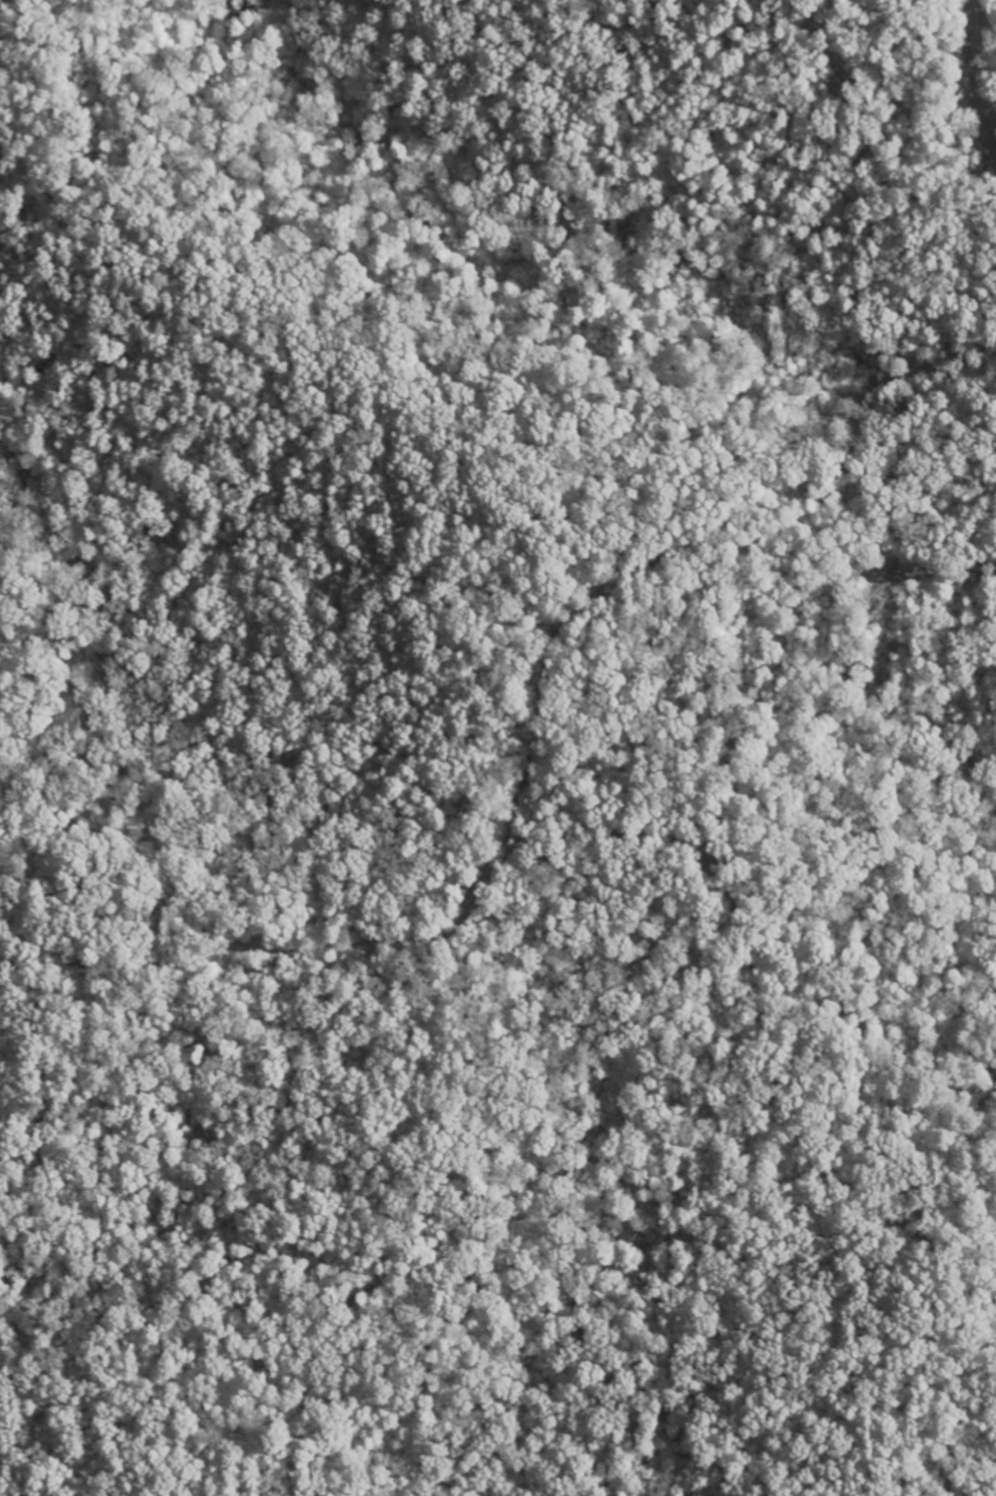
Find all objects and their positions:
road: (975, 67)
road: (524, 786)

